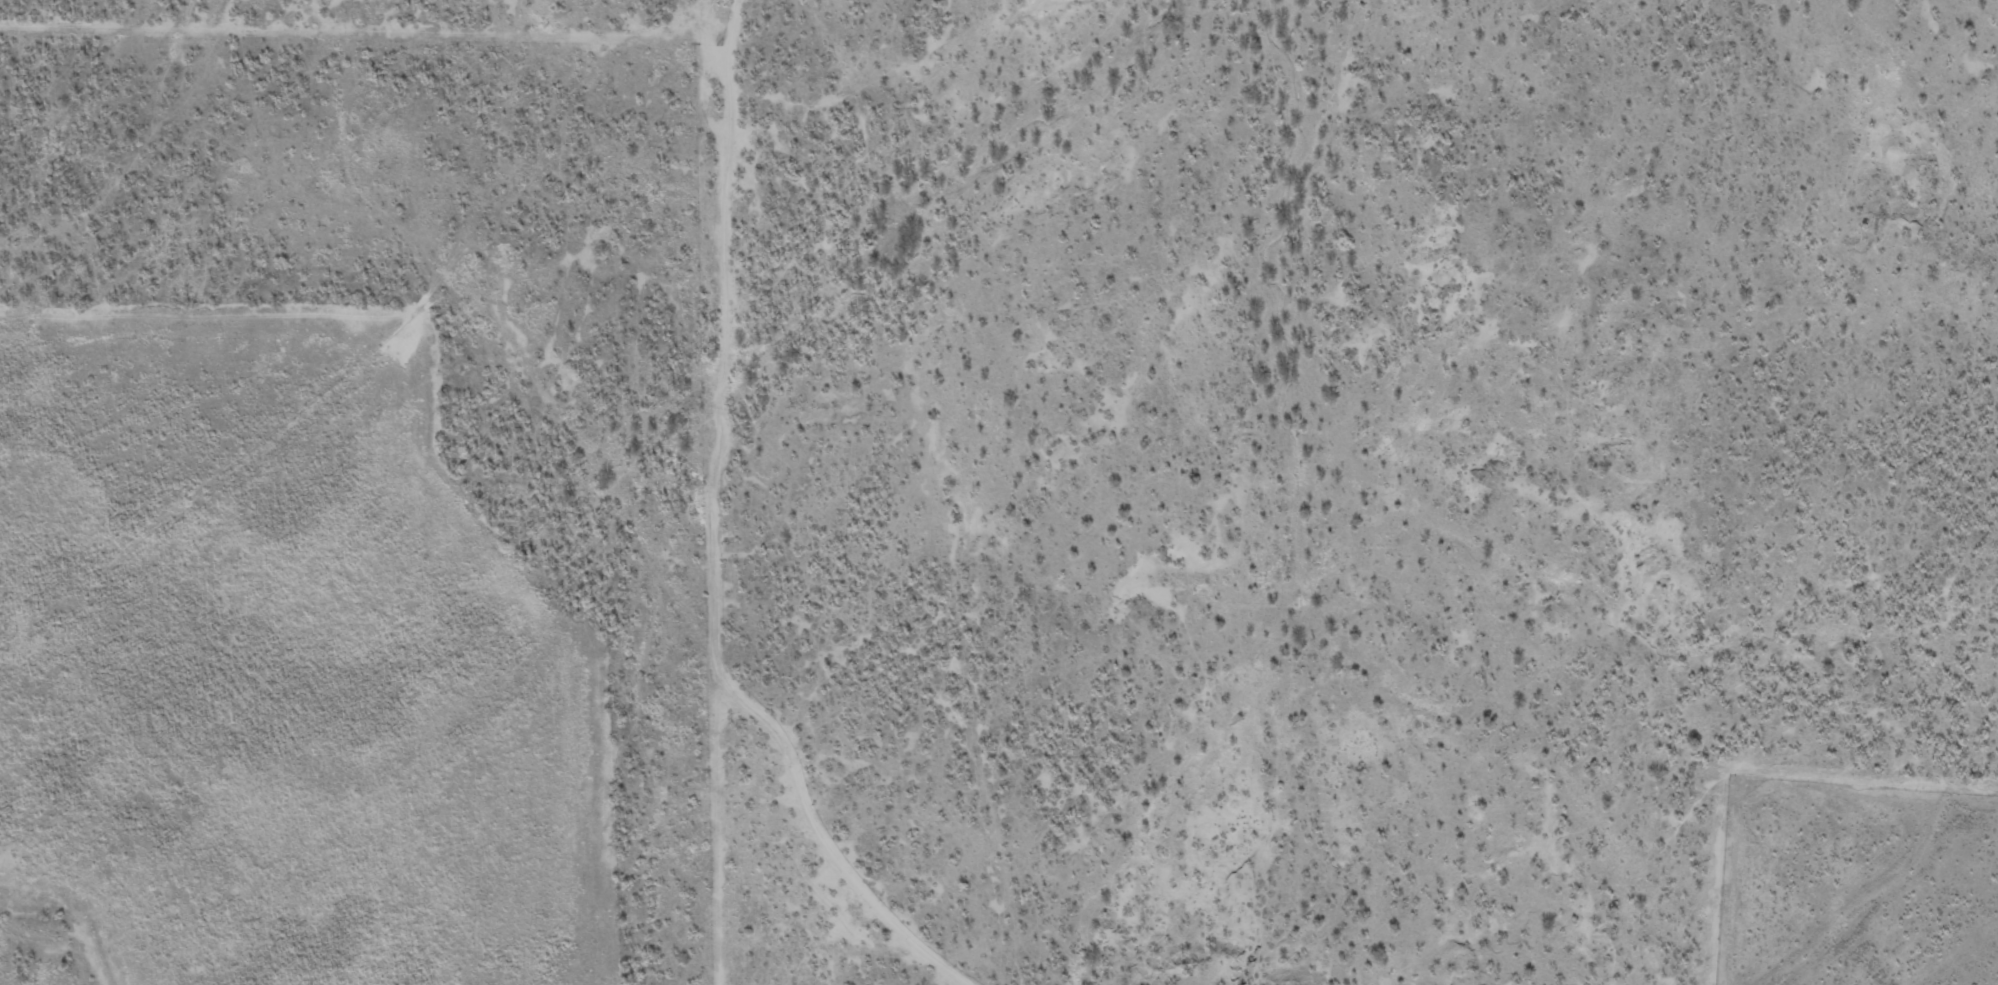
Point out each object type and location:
road: (340, 149)
road: (683, 677)

